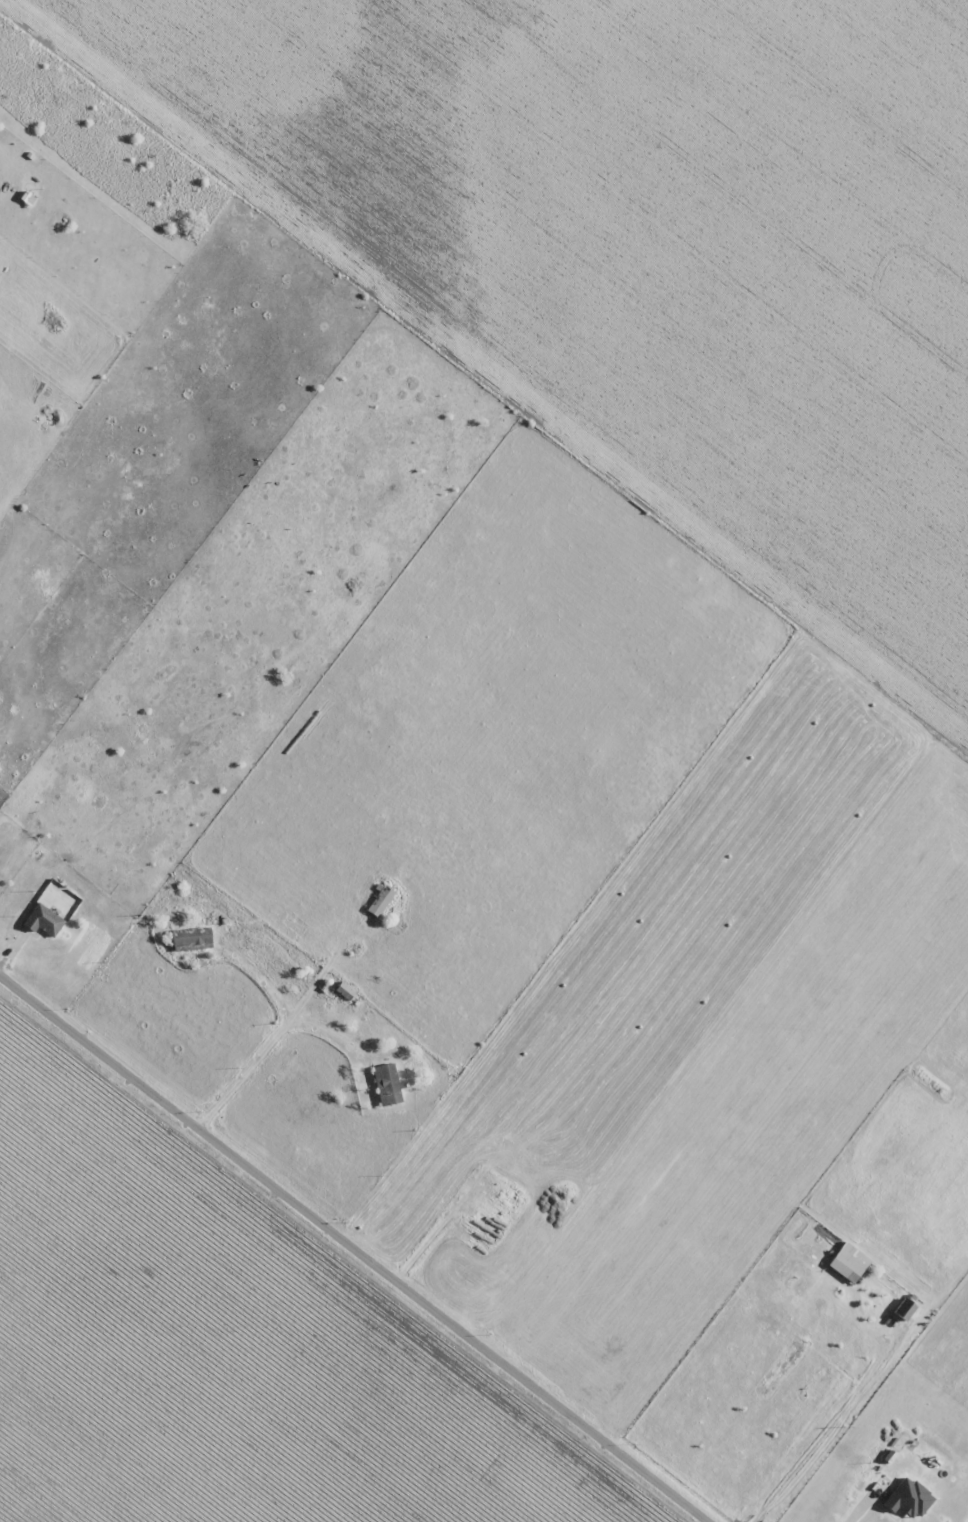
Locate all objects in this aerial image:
building: (379, 901)
building: (43, 920)
building: (191, 938)
building: (344, 991)
building: (387, 1084)
road: (346, 1256)
building: (848, 1263)
building: (903, 1310)

